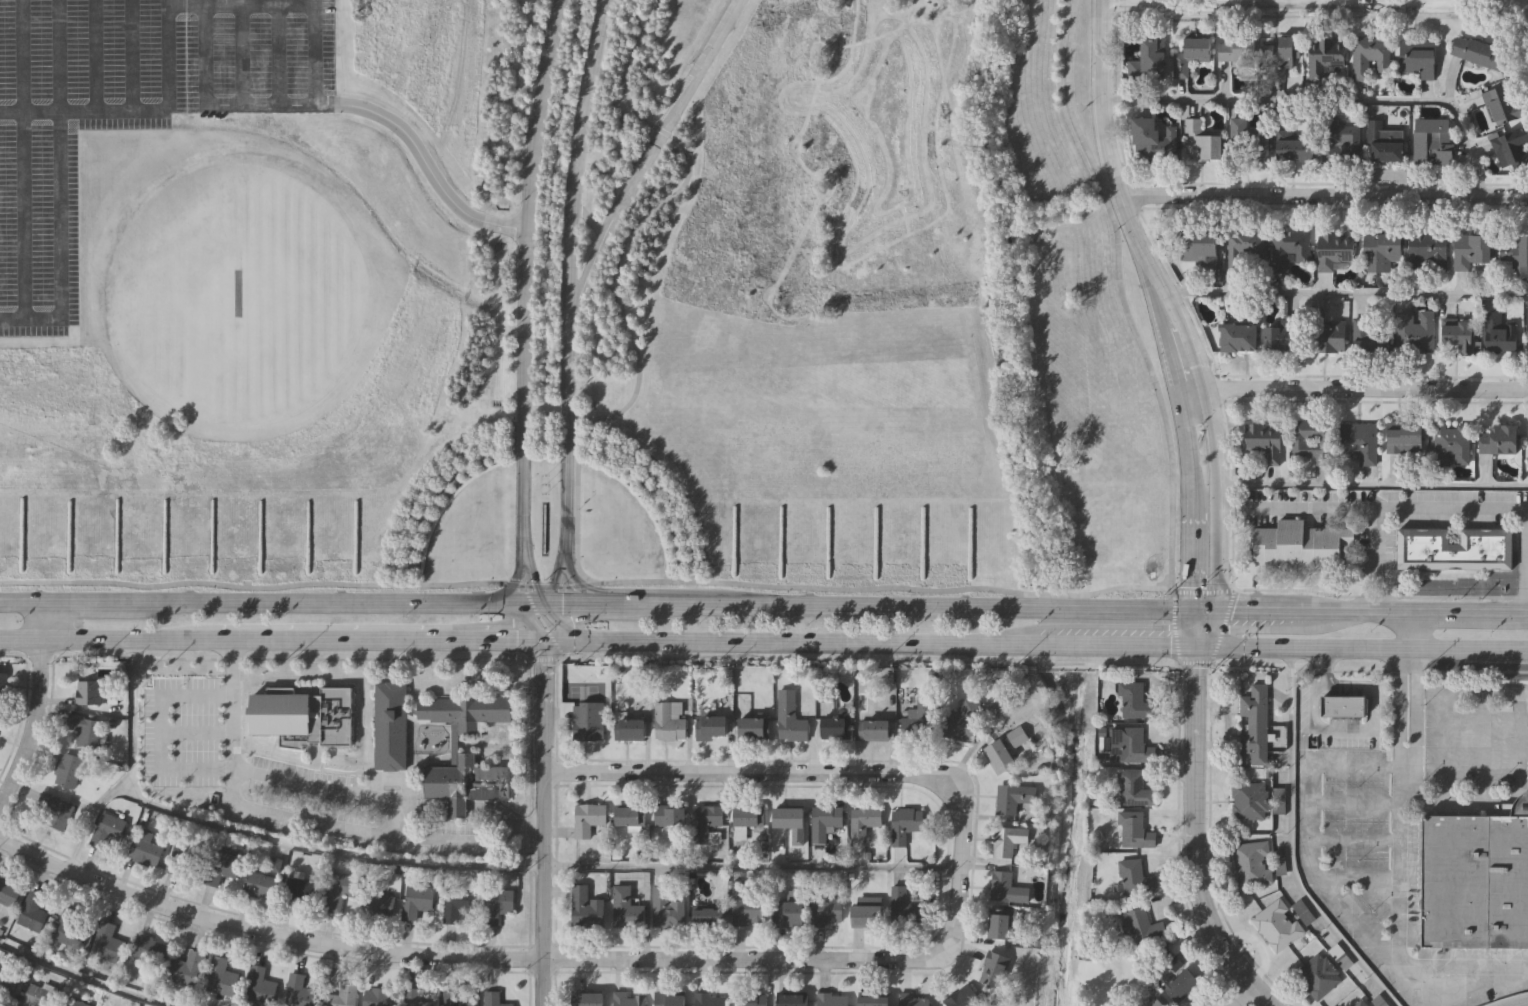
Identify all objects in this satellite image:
road: (205, 2)
road: (241, 2)
road: (242, 3)
road: (1316, 6)
road: (708, 31)
parking lot: (711, 37)
building: (1240, 52)
building: (1480, 52)
road: (278, 53)
road: (242, 54)
road: (93, 55)
road: (131, 55)
road: (168, 55)
building: (1192, 55)
building: (1327, 55)
building: (1281, 56)
building: (1371, 56)
building: (1418, 58)
building: (1151, 59)
road: (626, 67)
road: (1323, 101)
road: (211, 104)
building: (1503, 104)
road: (84, 110)
parking lot: (125, 110)
road: (391, 123)
road: (662, 131)
building: (1157, 141)
building: (1341, 141)
building: (1434, 141)
building: (1202, 142)
building: (1385, 142)
building: (1249, 143)
building: (1512, 147)
building: (1298, 148)
road: (649, 155)
road: (22, 160)
road: (57, 189)
road: (1325, 197)
road: (1122, 199)
road: (587, 219)
building: (1248, 243)
building: (1200, 246)
building: (1291, 247)
building: (1429, 248)
building: (1472, 248)
building: (1336, 249)
building: (1382, 249)
building: (1515, 249)
road: (523, 279)
road: (566, 280)
park: (237, 292)
road: (1345, 294)
building: (1416, 330)
building: (1500, 332)
building: (1283, 333)
building: (1331, 334)
building: (1372, 334)
building: (1460, 334)
building: (1240, 338)
road: (638, 370)
road: (1360, 389)
building: (1406, 437)
building: (1314, 439)
building: (1500, 439)
building: (1361, 440)
building: (1266, 441)
road: (1186, 444)
building: (1452, 444)
flagpole: (545, 475)
flagpole: (544, 484)
road: (1373, 486)
flagpole: (544, 493)
road: (1372, 507)
road: (1217, 518)
road: (1375, 540)
building: (1281, 544)
building: (1327, 546)
building: (1451, 549)
road: (1191, 555)
road: (1527, 561)
traffic signals: (511, 580)
road: (510, 581)
road: (531, 581)
road: (552, 582)
road: (577, 582)
traffic signals: (532, 583)
road: (884, 587)
road: (1365, 591)
road: (1385, 592)
road: (519, 601)
road: (566, 601)
traffic signals: (591, 601)
road: (268, 604)
road: (19, 605)
road: (890, 605)
road: (1202, 608)
traffic signals: (1215, 608)
traffic signals: (1190, 609)
road: (1311, 609)
road: (510, 611)
road: (531, 611)
road: (1467, 611)
road: (551, 613)
road: (576, 613)
road: (43, 625)
road: (1166, 627)
road: (1192, 629)
road: (1408, 630)
road: (503, 631)
road: (532, 632)
road: (552, 634)
road: (573, 634)
traffic signals: (484, 642)
road: (513, 642)
road: (564, 642)
road: (440, 643)
traffic signals: (543, 643)
road: (890, 643)
road: (24, 645)
road: (222, 645)
traffic signals: (1195, 649)
road: (1301, 650)
road: (1468, 650)
road: (1408, 657)
building: (1, 685)
building: (87, 691)
road: (1482, 693)
building: (1134, 701)
building: (1340, 705)
road: (233, 707)
building: (464, 711)
building: (303, 717)
building: (789, 718)
building: (917, 719)
building: (668, 720)
building: (959, 721)
road: (28, 722)
building: (584, 724)
building: (1254, 724)
building: (388, 726)
building: (710, 727)
road: (1368, 727)
building: (752, 728)
building: (835, 728)
building: (85, 729)
building: (628, 729)
building: (873, 729)
road: (162, 734)
building: (1016, 736)
building: (452, 744)
building: (1126, 744)
road: (1407, 755)
building: (998, 757)
road: (1354, 764)
building: (67, 769)
road: (830, 771)
building: (465, 783)
building: (1132, 788)
building: (1250, 798)
building: (1008, 799)
building: (1280, 799)
road: (1460, 803)
road: (1521, 804)
road: (422, 806)
road: (457, 807)
road: (492, 810)
building: (53, 811)
road: (274, 814)
building: (628, 815)
building: (668, 815)
building: (745, 816)
building: (787, 817)
building: (587, 818)
road: (89, 819)
building: (703, 820)
building: (825, 820)
building: (863, 821)
road: (543, 824)
building: (903, 824)
road: (1302, 826)
building: (106, 830)
building: (1132, 830)
road: (1194, 838)
building: (1007, 840)
road: (1290, 845)
building: (144, 847)
building: (1253, 861)
building: (178, 863)
building: (220, 866)
road: (464, 868)
building: (1134, 878)
building: (1476, 880)
building: (281, 887)
building: (1005, 888)
building: (336, 889)
building: (8, 892)
building: (416, 900)
building: (456, 901)
building: (495, 903)
building: (377, 904)
building: (902, 905)
building: (584, 907)
building: (625, 908)
building: (665, 909)
building: (825, 909)
building: (32, 911)
building: (746, 911)
building: (786, 913)
building: (865, 915)
building: (706, 916)
building: (999, 923)
road: (1402, 923)
building: (1278, 924)
building: (72, 926)
building: (1141, 927)
building: (106, 941)
building: (149, 948)
building: (1342, 955)
road: (464, 957)
building: (185, 967)
building: (993, 968)
building: (1319, 974)
building: (220, 976)
road: (79, 978)
building: (1181, 983)
building: (5, 985)
building: (259, 985)
building: (298, 991)
building: (342, 994)
building: (36, 995)
building: (379, 996)
road: (1239, 996)
building: (424, 997)
building: (460, 997)
building: (962, 997)
building: (493, 999)
building: (586, 999)
building: (625, 999)
building: (668, 999)
building: (709, 999)
building: (749, 999)
building: (790, 999)
building: (831, 999)
building: (871, 1000)
building: (911, 1000)
building: (73, 1001)
building: (1156, 1002)
building: (1361, 1002)

